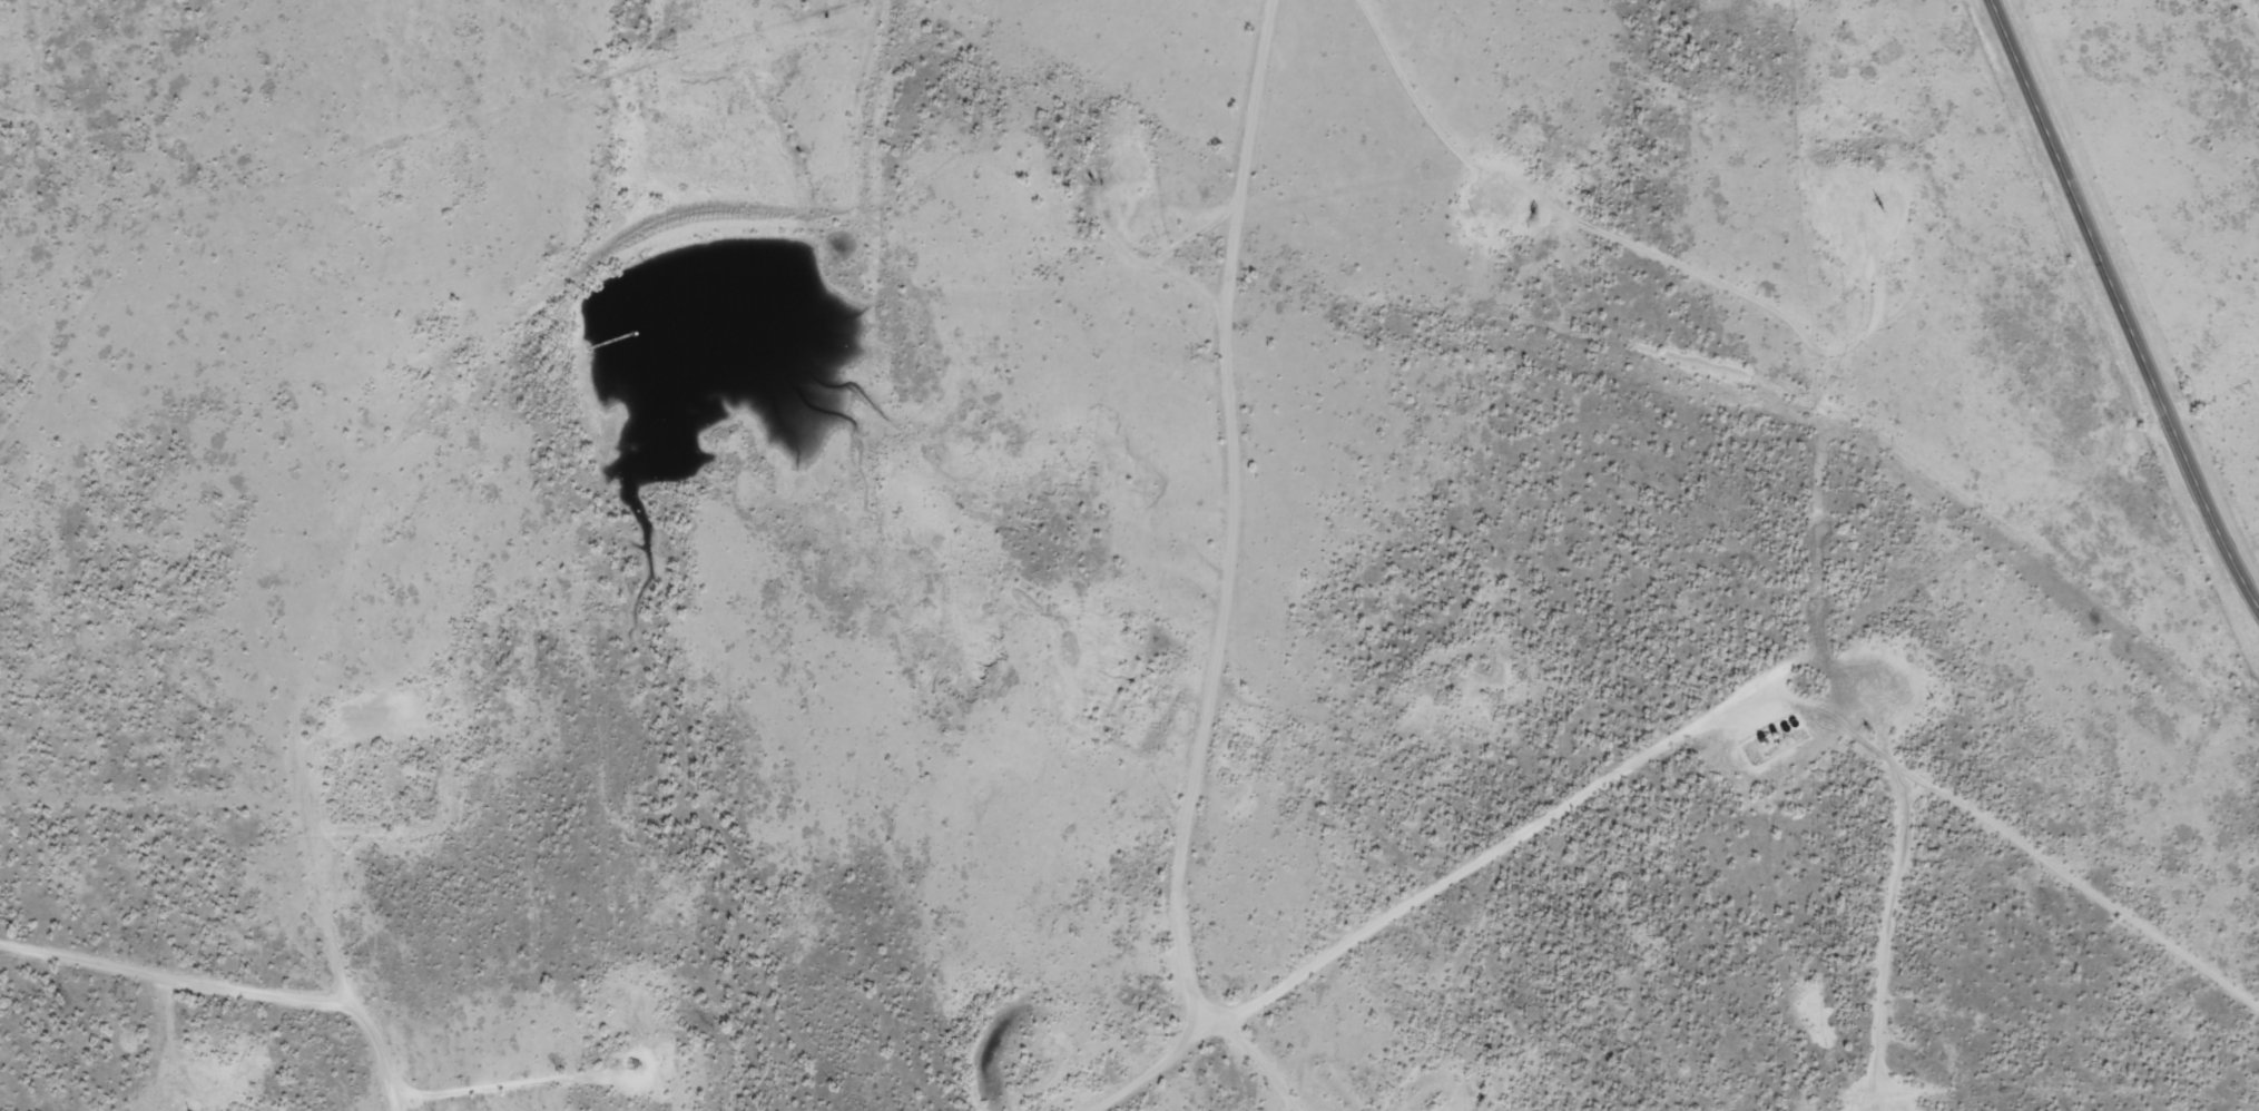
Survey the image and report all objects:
road: (2121, 303)
road: (362, 554)
road: (1287, 566)
road: (1809, 642)
road: (156, 809)
road: (1333, 962)

